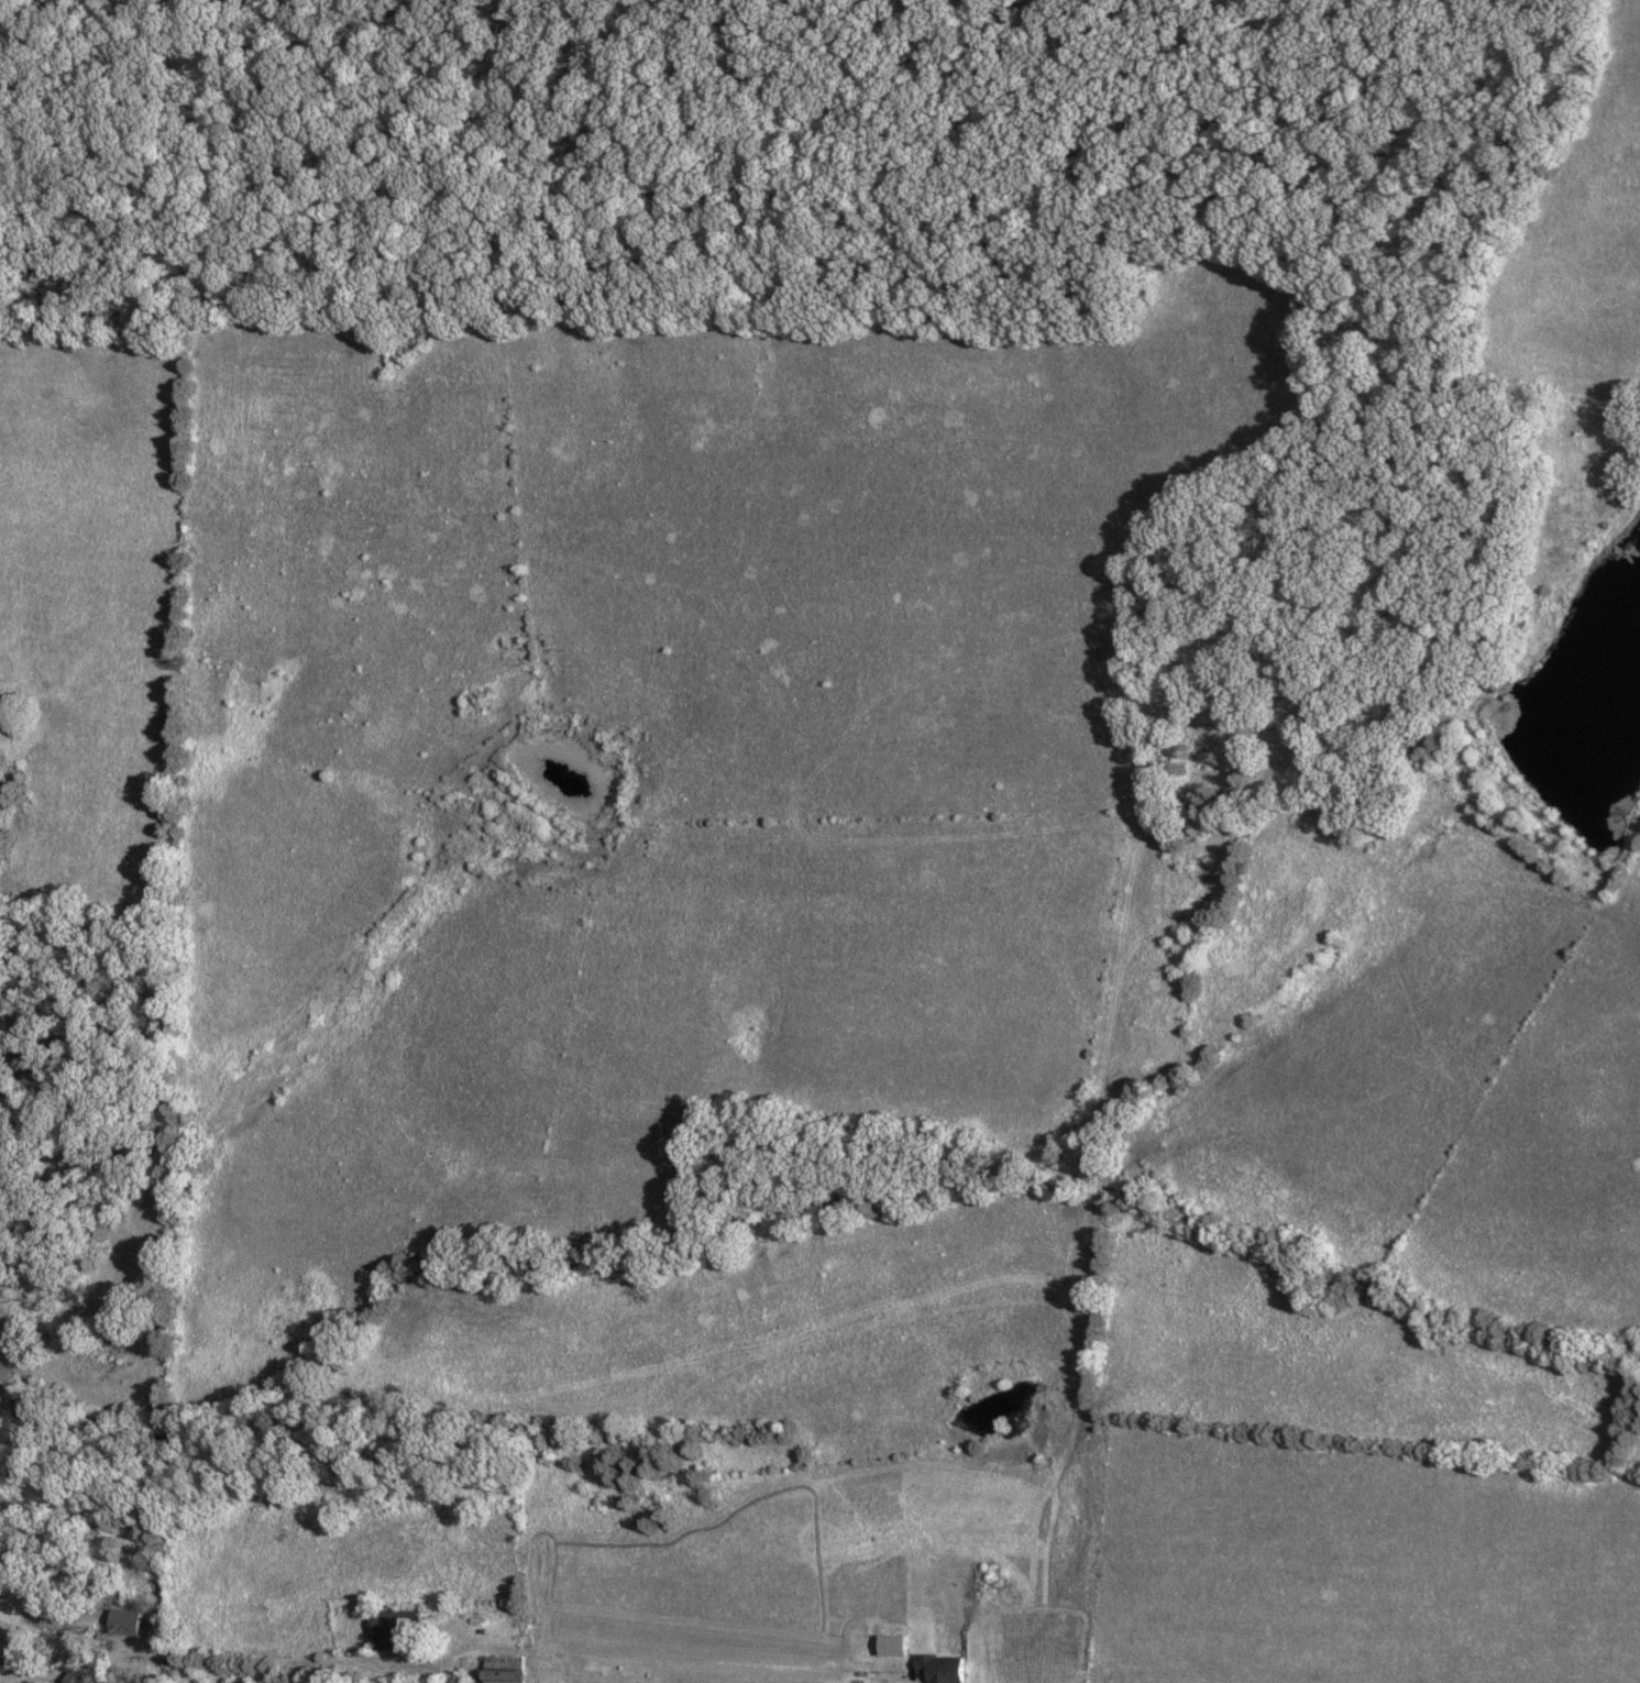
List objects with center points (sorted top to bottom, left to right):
building: (125, 1620)
building: (399, 1628)
building: (5, 1634)
building: (499, 1661)
building: (77, 1678)
road: (907, 1678)
building: (236, 1681)

